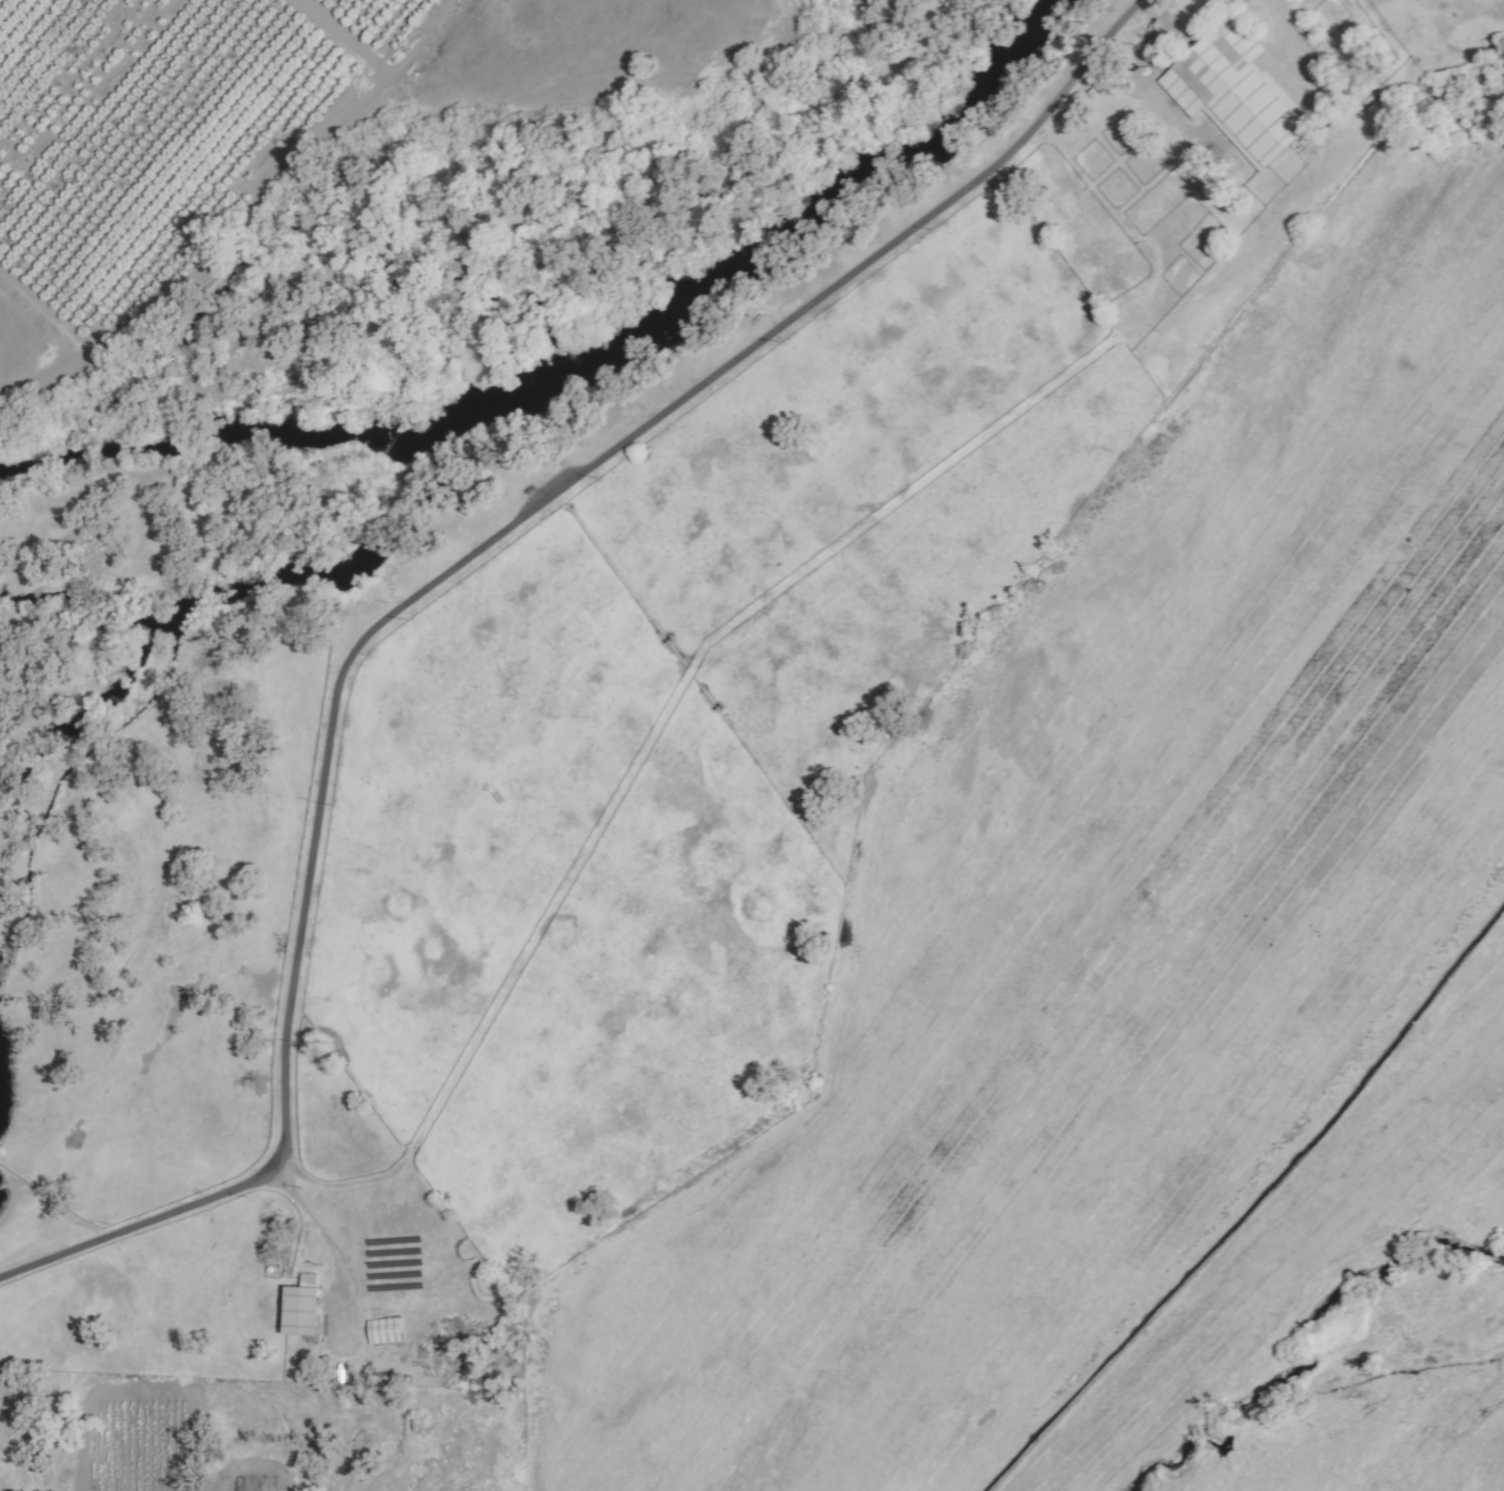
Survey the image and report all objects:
crop: (581, 49)
river: (742, 266)
crop: (33, 350)
river: (190, 444)
road: (427, 583)
crop: (971, 849)
road: (328, 1243)
building: (308, 1307)
crop: (1389, 1412)
crop: (125, 1442)

